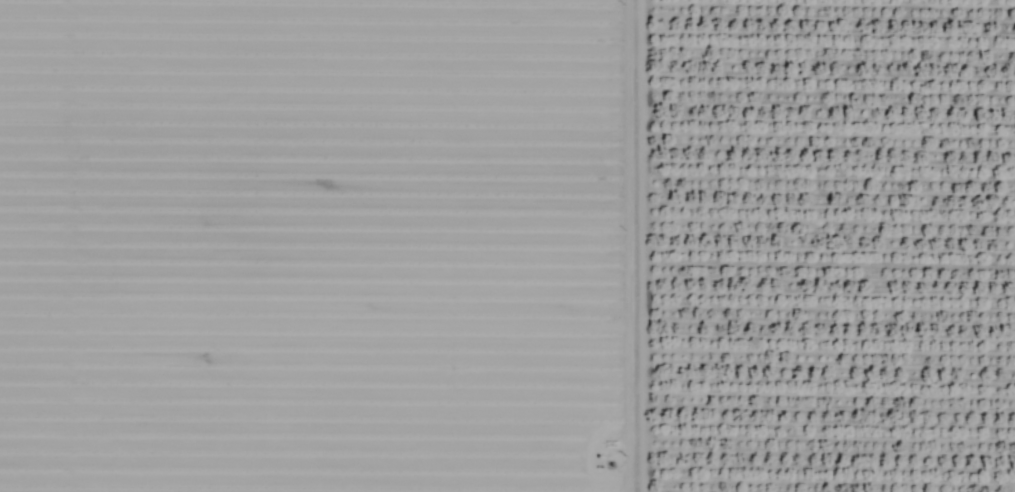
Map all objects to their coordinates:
crop: (507, 246)
road: (638, 246)

